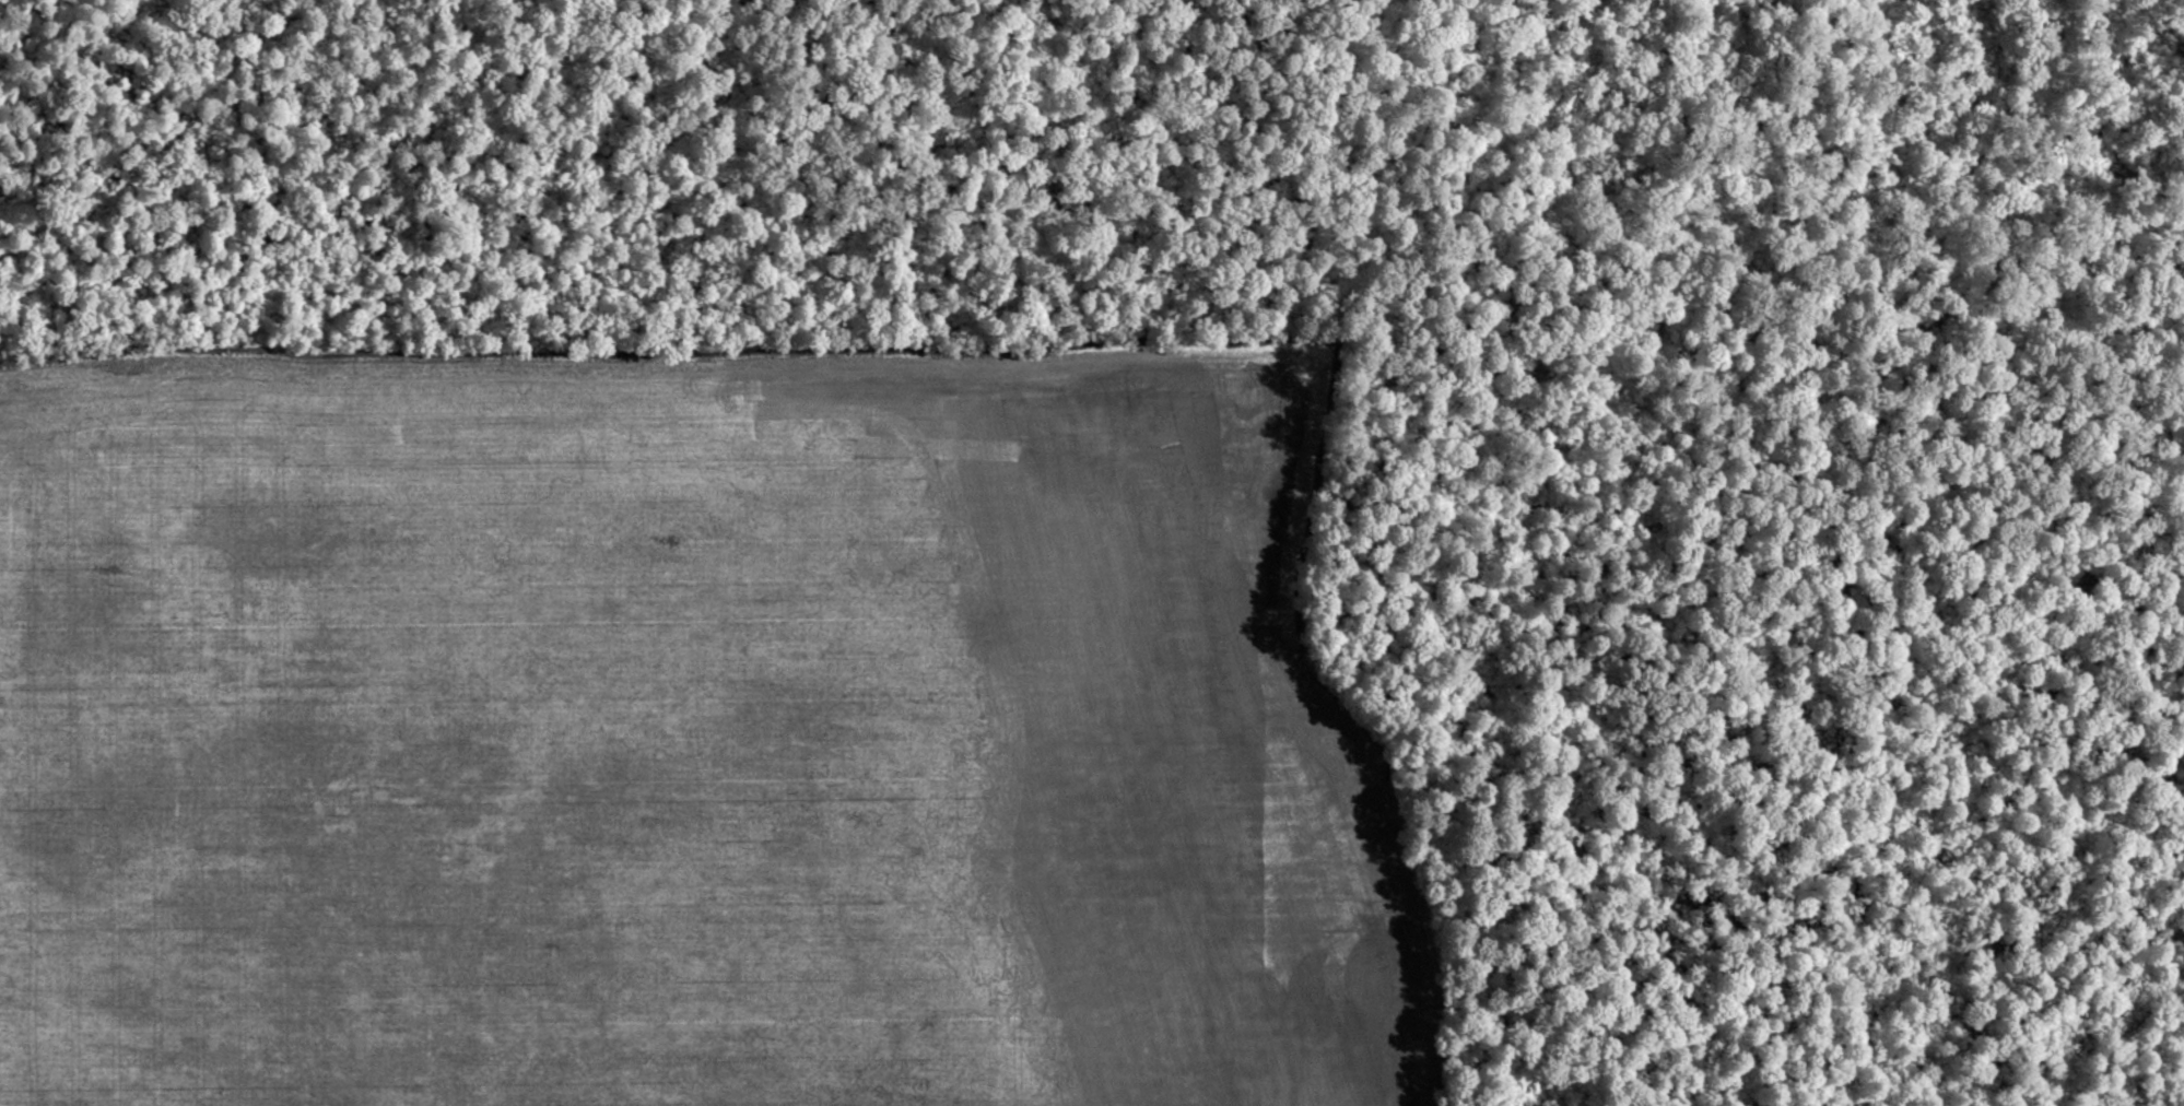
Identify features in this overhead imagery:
park: (1407, 411)

